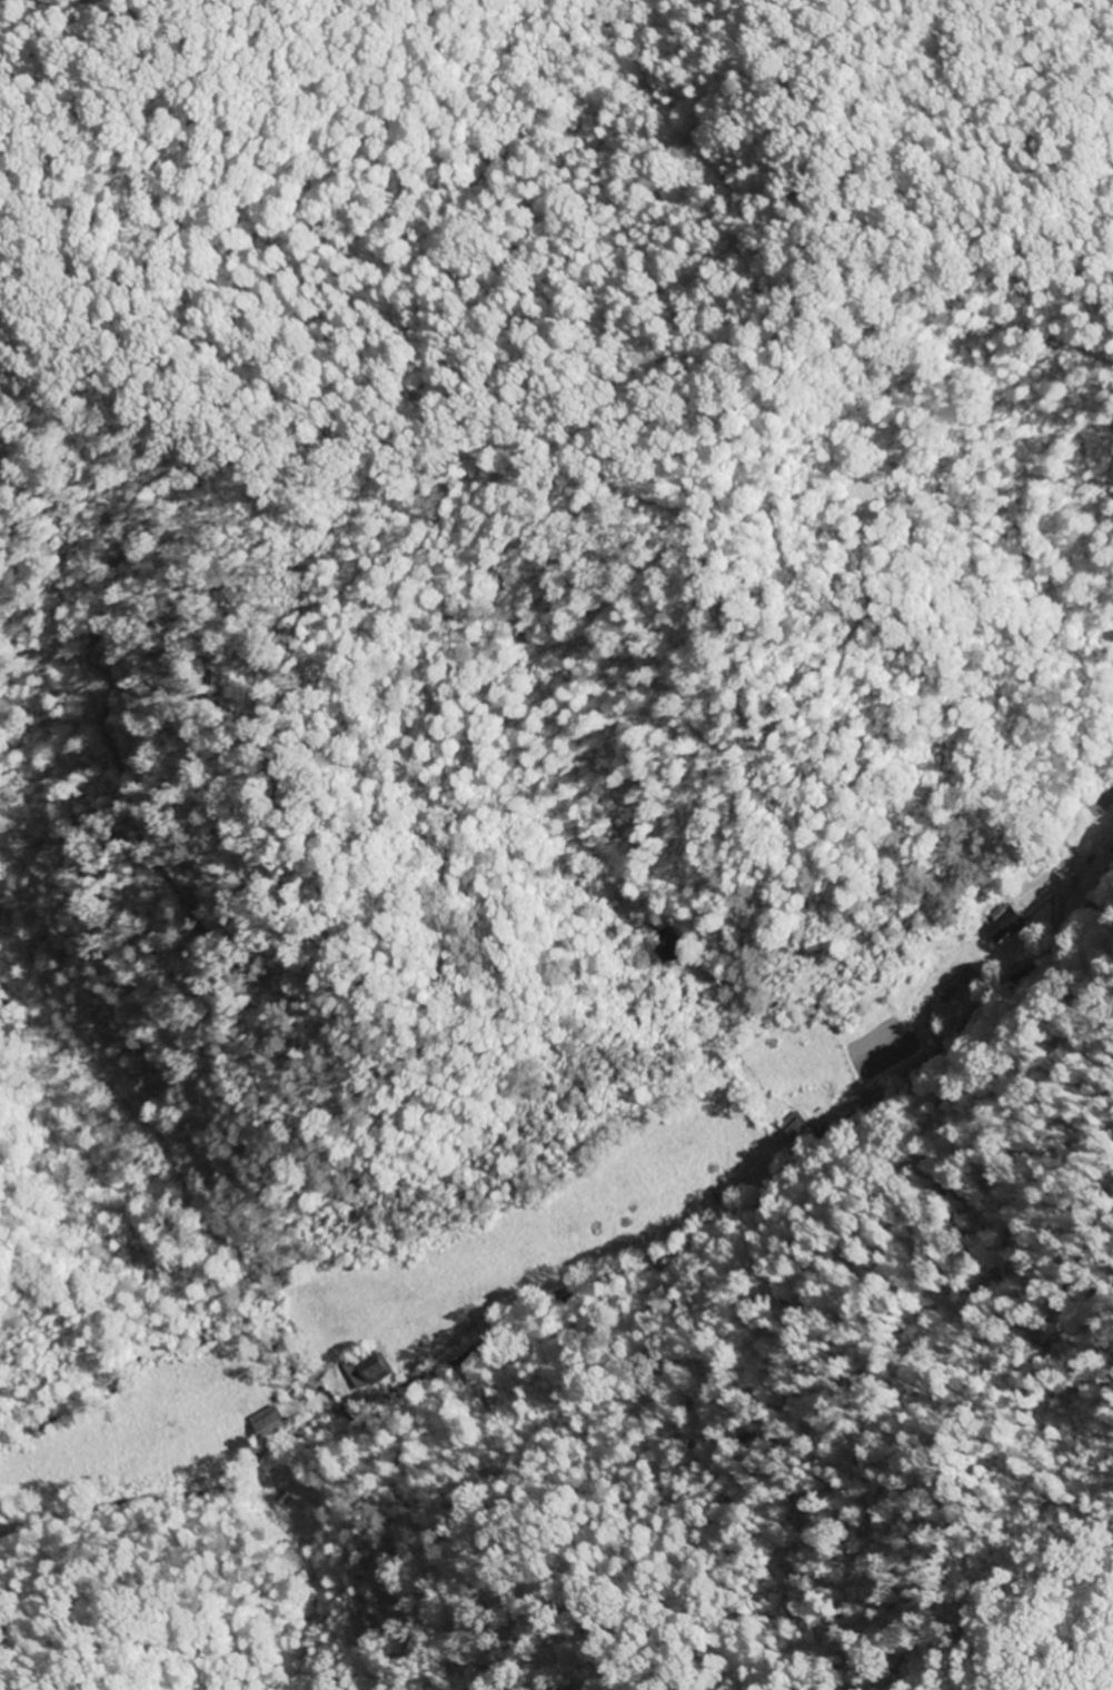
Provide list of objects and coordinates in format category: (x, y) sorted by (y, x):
building: (1107, 842)
building: (1005, 923)
building: (948, 990)
building: (796, 1129)
road: (639, 1270)
building: (371, 1368)
building: (271, 1422)

